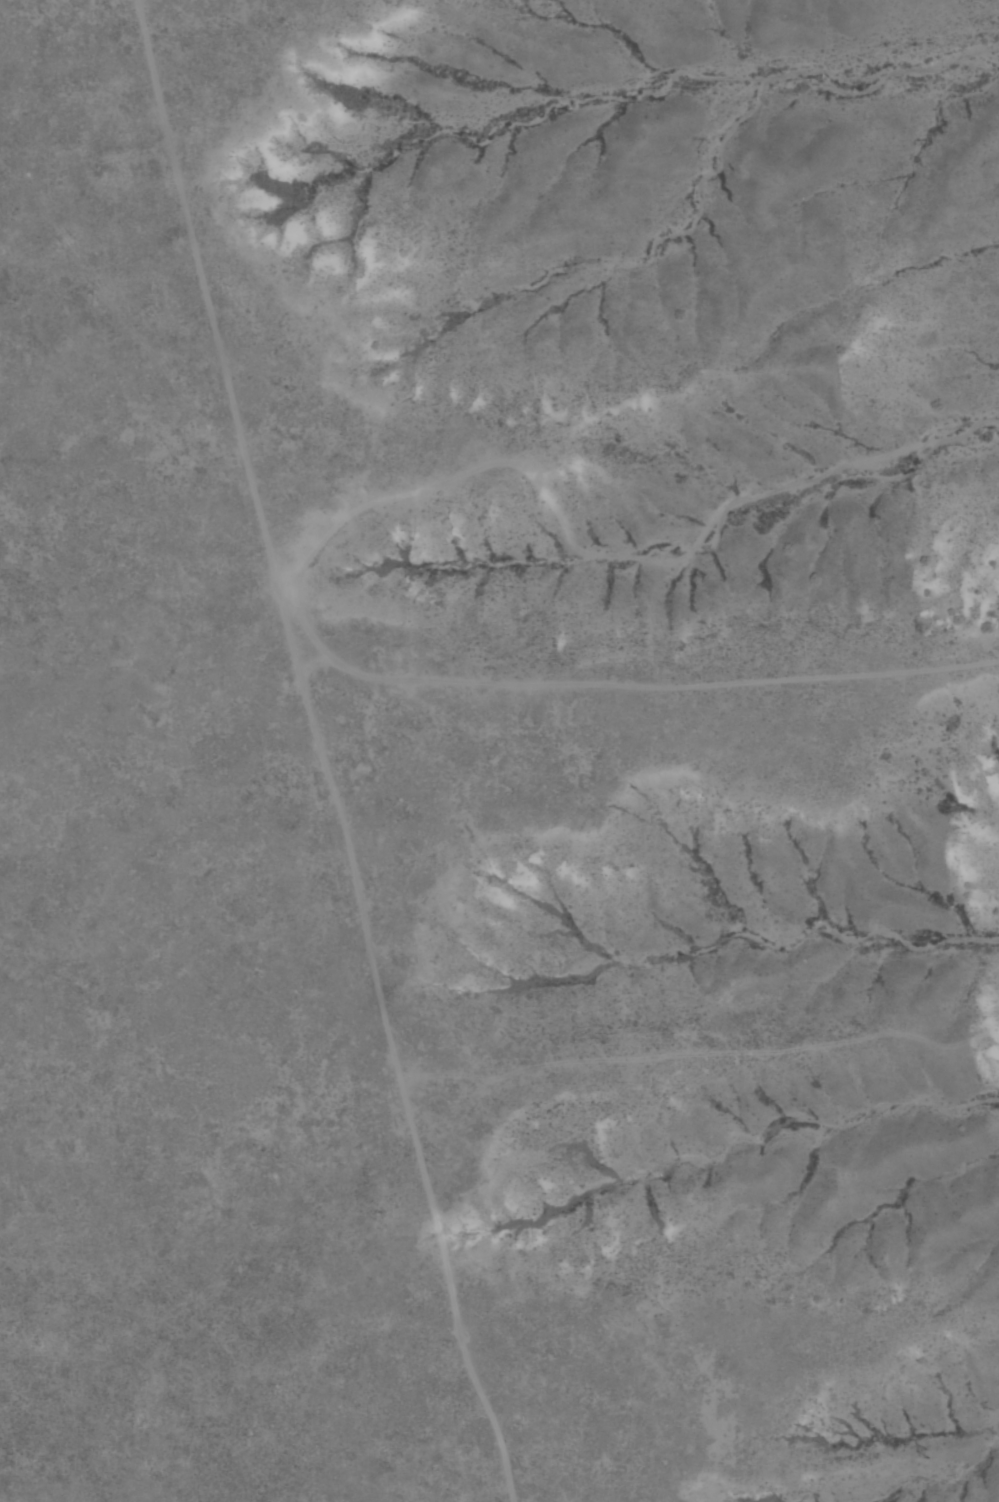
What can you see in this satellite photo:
power tower: (928, 1453)

